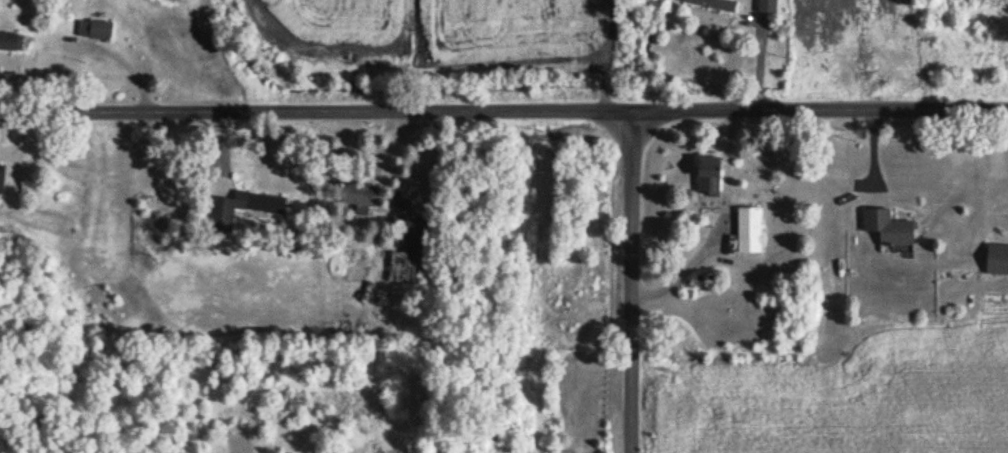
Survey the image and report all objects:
building: (712, 5)
building: (95, 31)
building: (11, 43)
road: (317, 110)
road: (821, 112)
building: (709, 178)
building: (2, 179)
building: (167, 180)
building: (145, 187)
building: (360, 198)
building: (244, 210)
road: (714, 219)
building: (888, 229)
building: (750, 231)
building: (410, 255)
building: (997, 261)
road: (633, 281)

